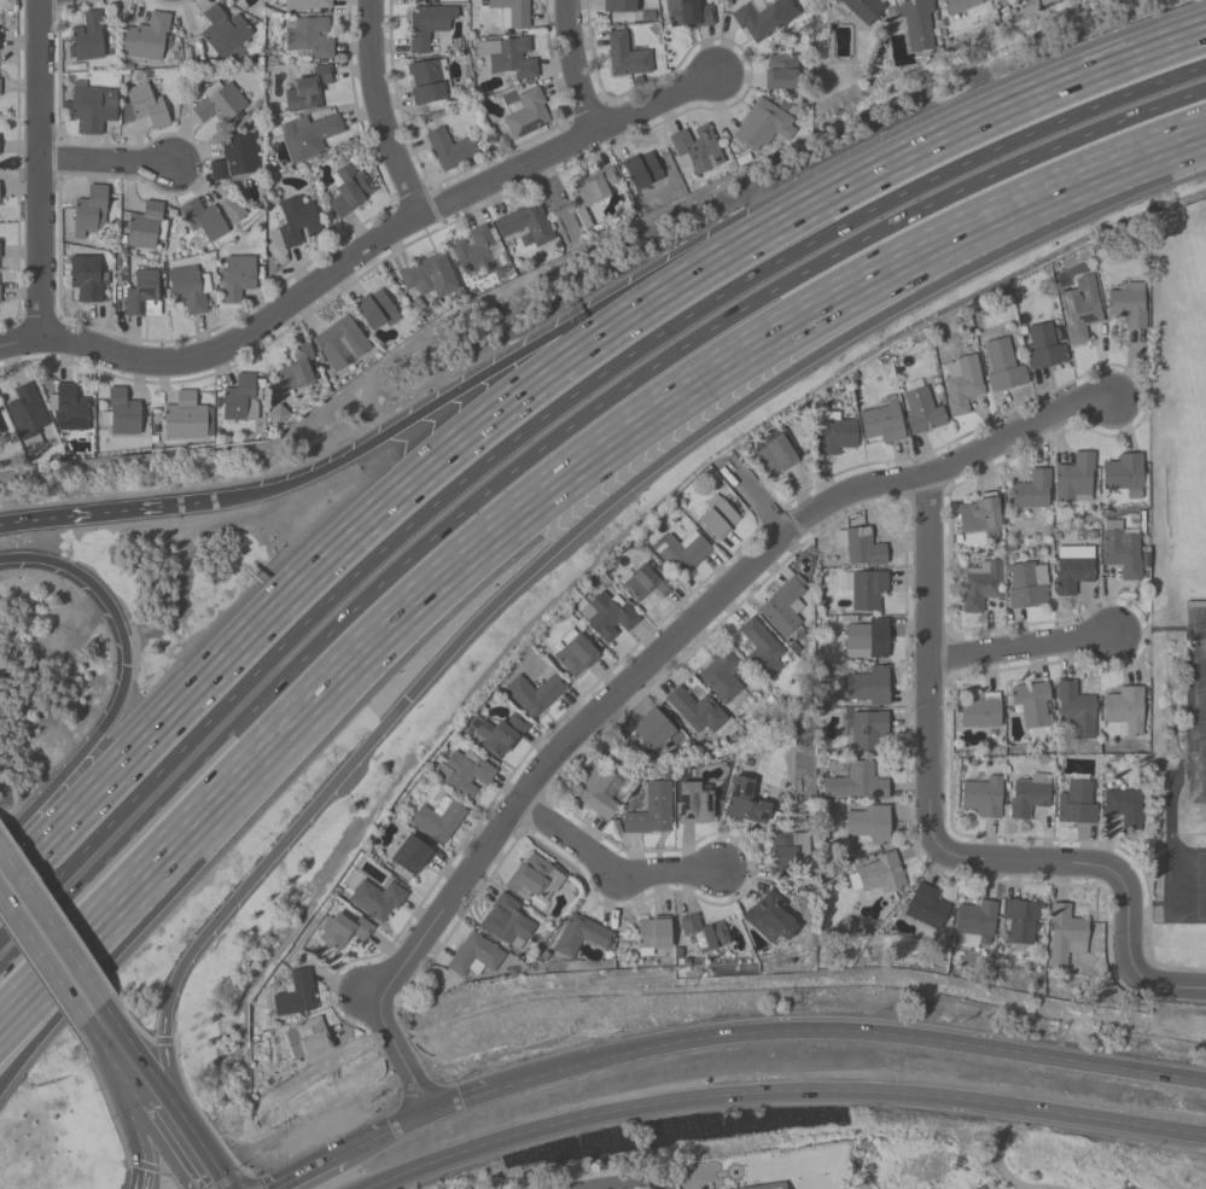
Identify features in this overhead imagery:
building: (308, 4)
building: (959, 5)
building: (619, 6)
building: (863, 8)
building: (512, 12)
building: (688, 13)
building: (764, 18)
building: (427, 24)
building: (916, 25)
building: (223, 30)
building: (86, 37)
building: (147, 37)
building: (309, 37)
building: (625, 54)
building: (507, 57)
road: (578, 65)
building: (782, 71)
building: (427, 82)
building: (0, 87)
building: (307, 91)
building: (220, 103)
building: (146, 105)
building: (93, 106)
road: (378, 110)
building: (528, 113)
building: (763, 126)
road: (961, 132)
building: (309, 135)
road: (1182, 138)
building: (697, 147)
building: (450, 150)
building: (235, 157)
road: (106, 162)
road: (39, 169)
building: (641, 171)
road: (1093, 171)
building: (349, 190)
building: (592, 190)
building: (232, 209)
building: (91, 214)
building: (203, 221)
building: (295, 221)
building: (525, 223)
building: (146, 225)
road: (360, 250)
building: (0, 251)
building: (473, 251)
building: (430, 275)
building: (237, 276)
building: (86, 280)
building: (190, 288)
building: (142, 295)
building: (1128, 305)
building: (375, 308)
building: (1080, 308)
building: (340, 343)
building: (1043, 346)
building: (1001, 366)
building: (297, 368)
road: (471, 381)
building: (962, 384)
building: (240, 398)
building: (71, 408)
building: (921, 408)
building: (122, 413)
building: (27, 415)
building: (185, 416)
road: (543, 419)
building: (881, 422)
building: (833, 433)
road: (543, 445)
building: (774, 451)
building: (1123, 472)
road: (572, 473)
building: (1074, 479)
building: (1031, 490)
road: (202, 502)
road: (141, 509)
building: (717, 517)
building: (980, 517)
road: (47, 519)
building: (860, 546)
road: (342, 549)
building: (681, 552)
building: (1121, 552)
building: (1073, 570)
building: (648, 583)
building: (979, 584)
building: (1026, 585)
road: (511, 587)
building: (864, 588)
building: (783, 605)
building: (606, 616)
building: (866, 639)
road: (1023, 642)
building: (761, 648)
building: (575, 653)
road: (928, 653)
traffic signals: (126, 664)
road: (642, 666)
building: (722, 677)
road: (122, 682)
building: (868, 687)
building: (532, 693)
traffic signals: (407, 699)
building: (1032, 703)
building: (695, 709)
building: (1076, 709)
building: (1124, 710)
building: (979, 711)
building: (864, 728)
building: (652, 729)
building: (500, 735)
building: (465, 771)
building: (856, 782)
building: (598, 792)
building: (1029, 794)
building: (983, 797)
building: (695, 802)
building: (745, 802)
building: (1078, 802)
building: (1123, 808)
building: (649, 811)
building: (438, 820)
building: (867, 826)
building: (786, 852)
building: (412, 855)
road: (167, 856)
road: (1106, 869)
road: (611, 876)
building: (876, 876)
building: (534, 878)
building: (375, 898)
building: (926, 907)
building: (770, 919)
building: (977, 919)
building: (507, 921)
building: (1024, 921)
road: (51, 926)
building: (344, 931)
building: (704, 932)
building: (583, 934)
building: (653, 934)
building: (1066, 934)
road: (74, 951)
building: (476, 955)
road: (37, 974)
road: (74, 978)
road: (60, 986)
building: (296, 995)
road: (899, 1036)
building: (308, 1038)
road: (139, 1054)
road: (540, 1073)
road: (132, 1091)
road: (776, 1092)
road: (103, 1094)
road: (414, 1119)
road: (139, 1132)
road: (169, 1147)
road: (203, 1148)
road: (997, 1153)
road: (144, 1166)
road: (307, 1171)
road: (624, 1182)
building: (770, 1187)

